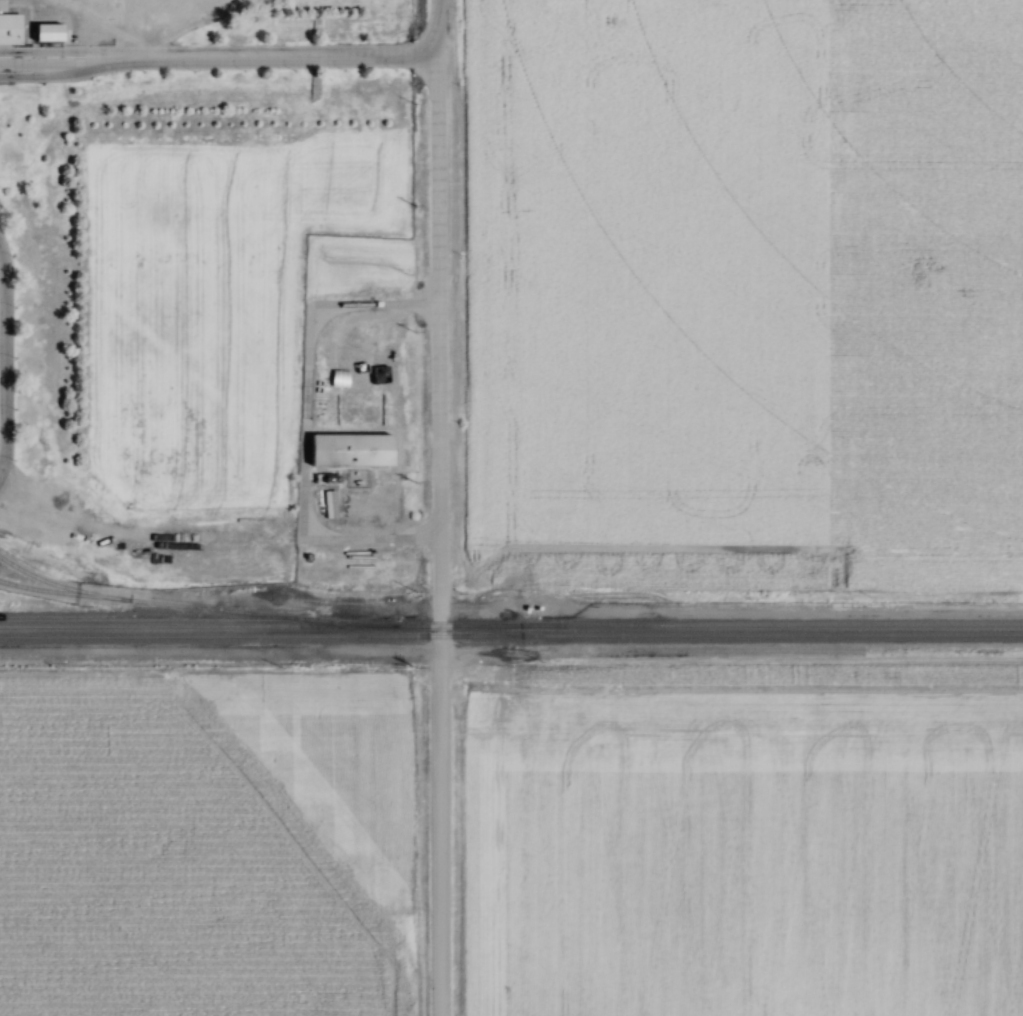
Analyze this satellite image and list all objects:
building: (12, 25)
building: (52, 30)
road: (216, 62)
crop: (217, 300)
road: (0, 386)
building: (355, 446)
road: (437, 507)
railway: (59, 591)
railway: (187, 606)
railway: (138, 617)
railway: (511, 624)
railway: (511, 635)

